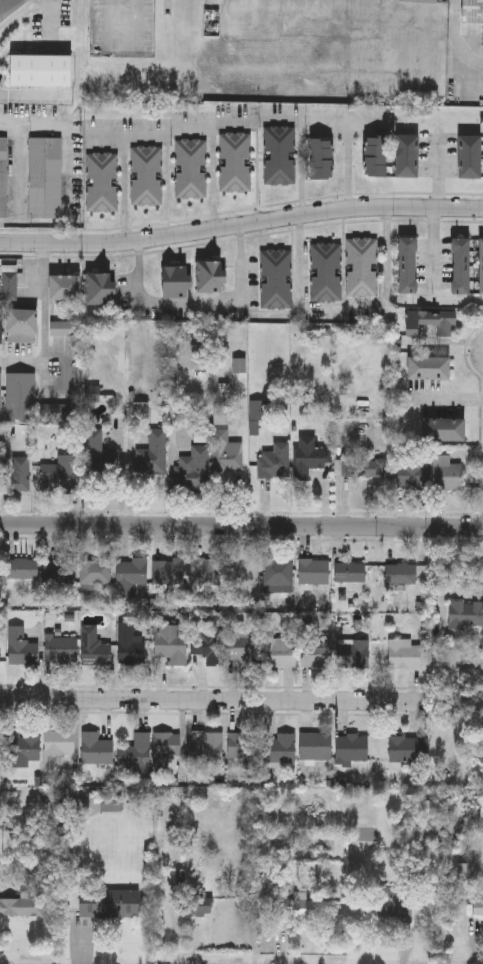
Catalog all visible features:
road: (4, 4)
building: (472, 10)
road: (456, 37)
building: (39, 69)
road: (208, 128)
building: (281, 154)
building: (376, 155)
building: (407, 155)
building: (470, 156)
building: (321, 157)
building: (237, 161)
road: (350, 165)
building: (192, 168)
building: (148, 174)
building: (4, 176)
building: (46, 177)
road: (214, 178)
building: (104, 181)
road: (241, 226)
building: (408, 264)
building: (461, 265)
building: (363, 266)
building: (481, 266)
building: (328, 271)
building: (208, 276)
building: (277, 278)
building: (174, 281)
building: (11, 282)
building: (65, 286)
building: (98, 287)
road: (199, 304)
road: (348, 308)
building: (429, 321)
building: (22, 325)
road: (46, 325)
building: (58, 327)
building: (1, 330)
building: (427, 367)
building: (1, 395)
building: (22, 396)
road: (457, 402)
building: (60, 412)
building: (223, 414)
building: (445, 429)
building: (225, 452)
building: (152, 454)
building: (99, 455)
building: (307, 456)
building: (274, 461)
building: (362, 468)
building: (411, 470)
building: (192, 471)
building: (446, 473)
building: (16, 474)
building: (60, 474)
road: (241, 524)
building: (21, 568)
building: (58, 571)
building: (95, 571)
building: (168, 571)
building: (206, 571)
building: (313, 571)
building: (350, 571)
building: (399, 573)
building: (278, 575)
building: (130, 576)
building: (465, 613)
building: (171, 642)
building: (129, 644)
building: (208, 645)
building: (21, 646)
building: (93, 647)
building: (242, 648)
building: (60, 649)
building: (278, 652)
building: (353, 654)
building: (403, 654)
building: (315, 657)
road: (214, 700)
building: (22, 745)
building: (207, 746)
building: (315, 746)
building: (55, 747)
building: (242, 747)
building: (95, 748)
building: (279, 748)
building: (352, 748)
building: (405, 748)
building: (134, 752)
building: (165, 753)
building: (110, 802)
building: (466, 876)
building: (396, 902)
building: (107, 903)
building: (192, 904)
building: (21, 907)
building: (297, 907)
building: (477, 907)

